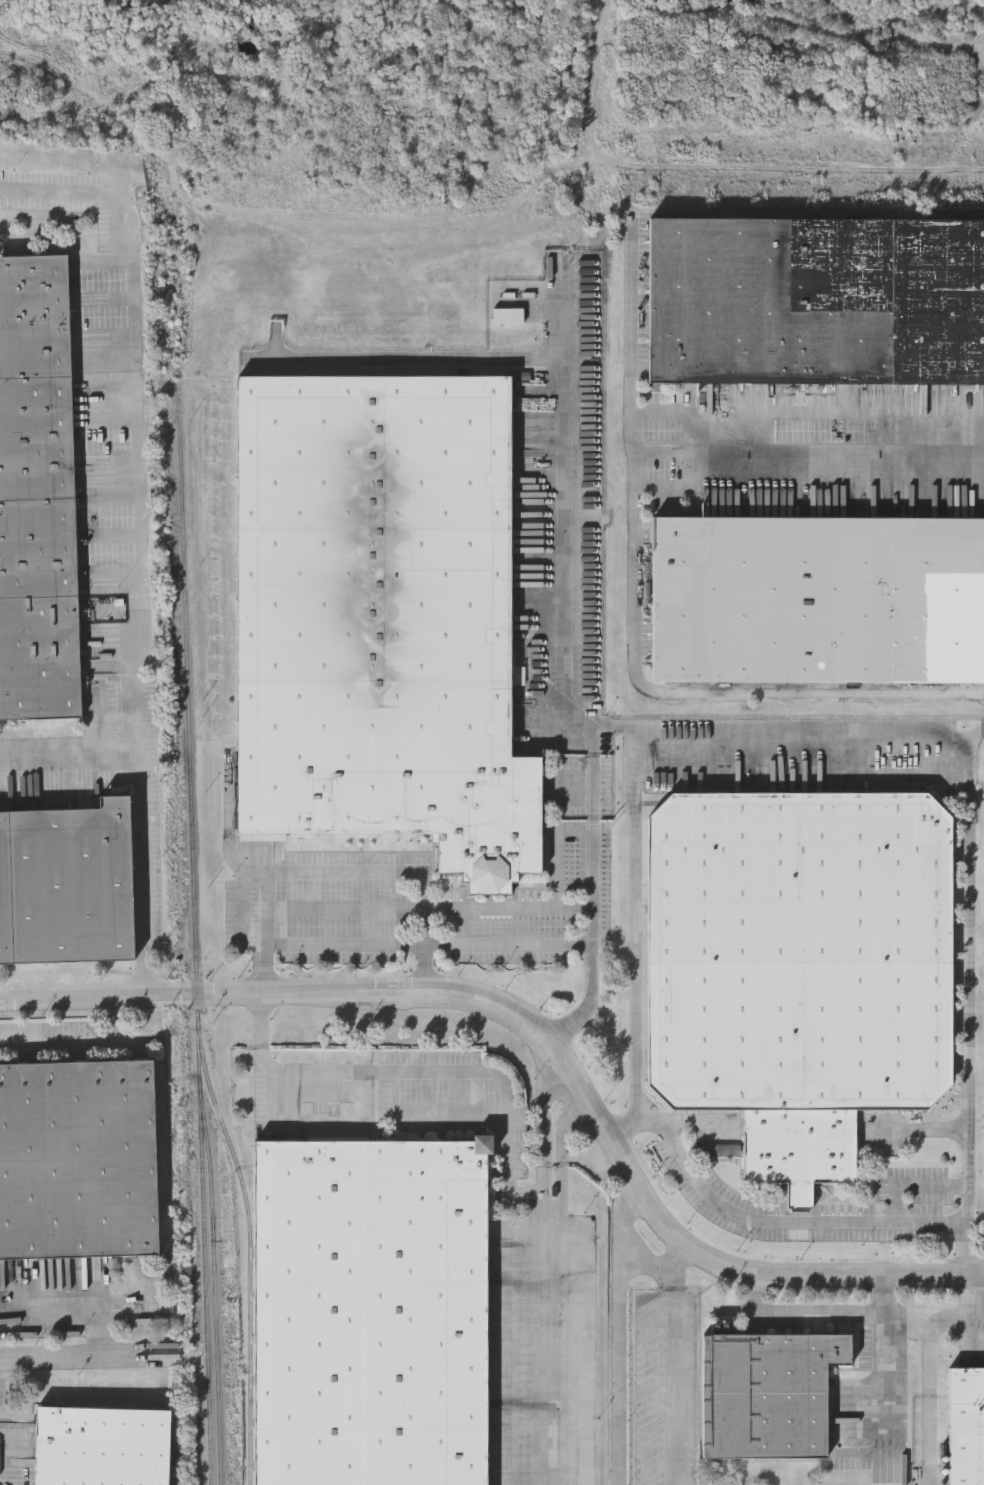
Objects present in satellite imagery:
building: (816, 304)
road: (409, 358)
road: (138, 411)
road: (698, 450)
building: (37, 492)
building: (818, 599)
building: (381, 616)
road: (560, 618)
road: (693, 691)
road: (614, 728)
road: (632, 759)
road: (141, 801)
road: (556, 853)
road: (346, 871)
building: (71, 893)
road: (428, 910)
railway: (194, 920)
road: (445, 946)
road: (423, 954)
building: (799, 969)
road: (423, 977)
road: (264, 979)
road: (965, 997)
road: (571, 1023)
road: (75, 1036)
road: (545, 1037)
road: (291, 1070)
road: (562, 1074)
road: (416, 1116)
road: (917, 1131)
building: (78, 1169)
road: (553, 1207)
road: (759, 1218)
railway: (251, 1247)
railway: (214, 1287)
road: (980, 1295)
road: (67, 1312)
road: (799, 1312)
building: (371, 1313)
road: (622, 1335)
road: (549, 1346)
road: (93, 1352)
road: (883, 1361)
road: (677, 1364)
road: (929, 1376)
building: (767, 1395)
building: (966, 1427)
building: (100, 1448)
railway: (175, 1460)

